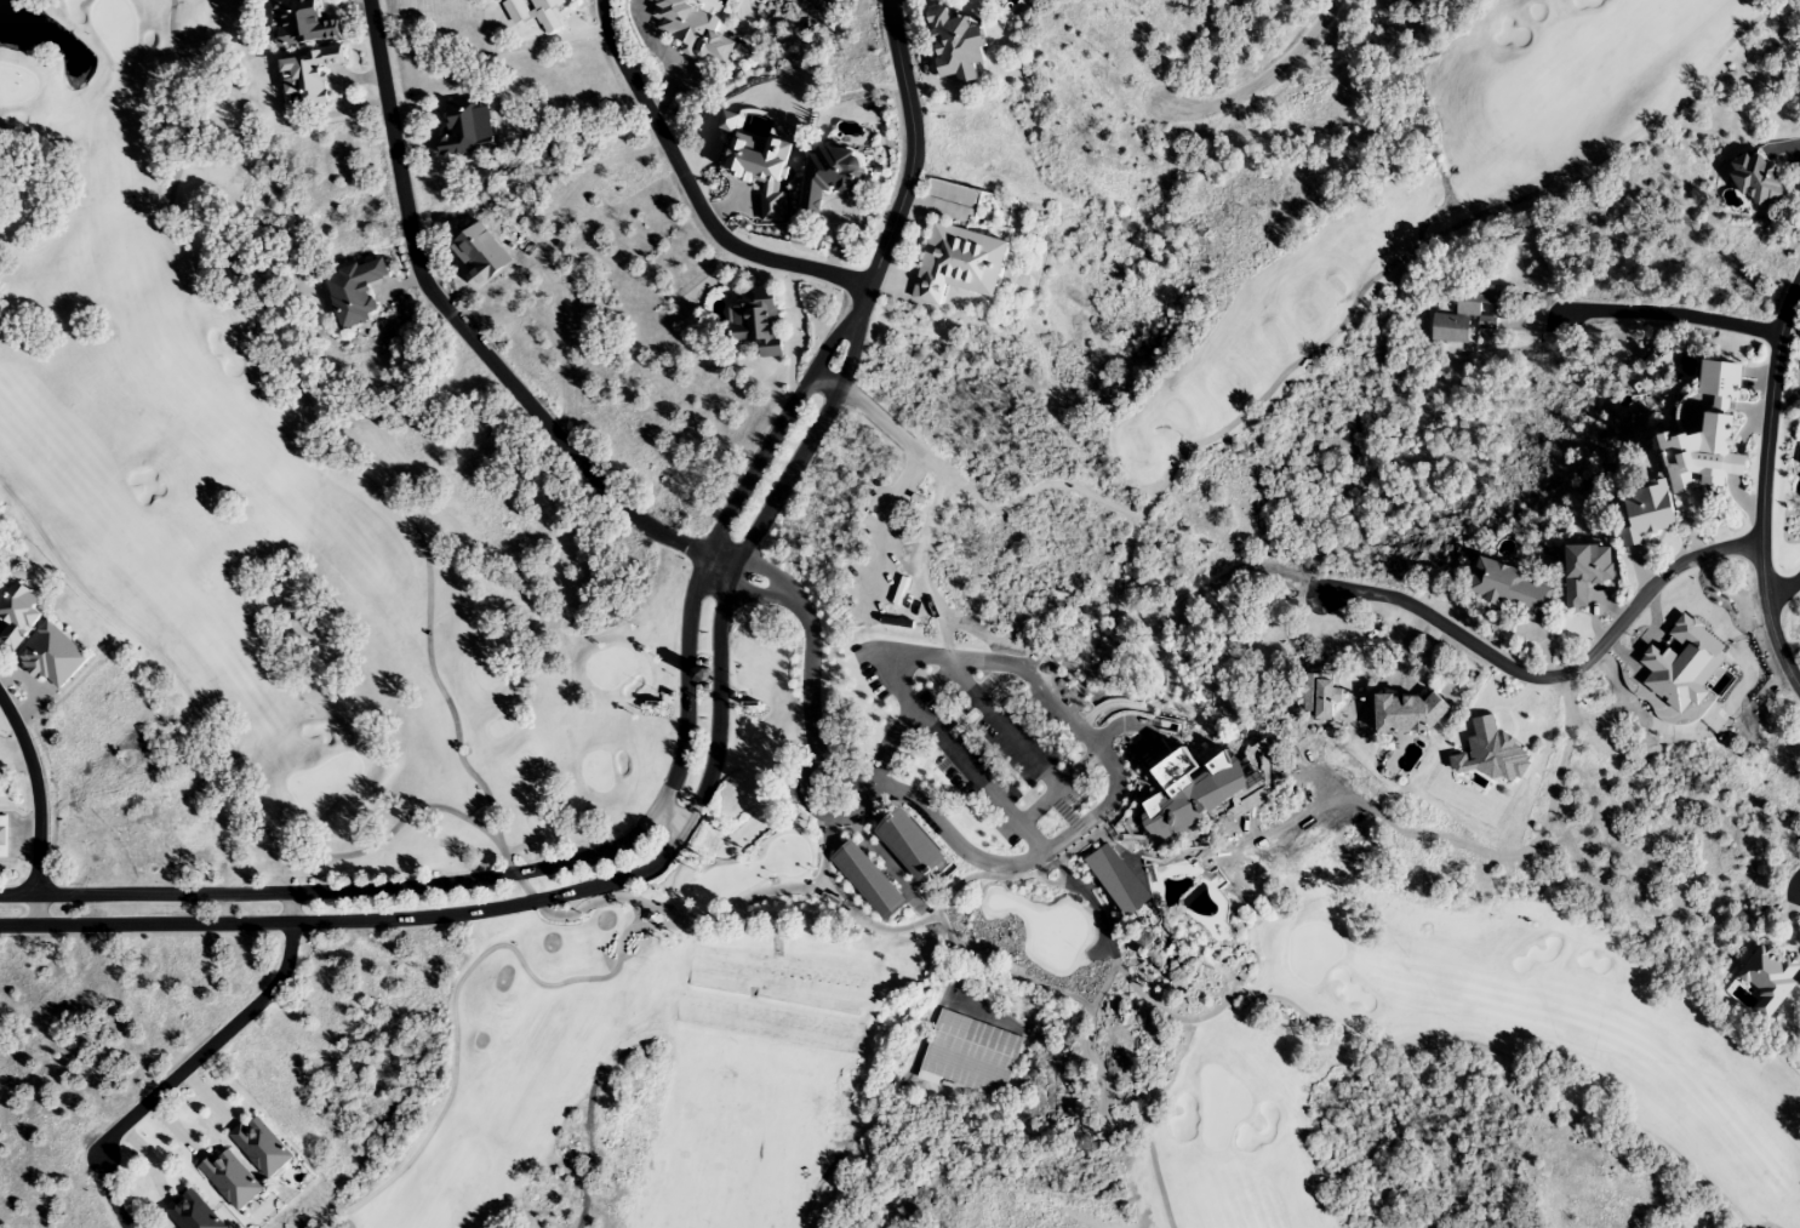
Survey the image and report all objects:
building: (533, 12)
building: (301, 22)
building: (693, 28)
building: (956, 44)
building: (308, 76)
road: (1258, 82)
building: (467, 128)
road: (913, 147)
building: (830, 176)
building: (1756, 177)
road: (690, 192)
building: (959, 262)
building: (354, 291)
road: (1670, 313)
building: (1468, 315)
building: (758, 320)
road: (800, 330)
road: (468, 336)
road: (868, 411)
building: (1709, 436)
road: (1762, 482)
building: (1647, 513)
road: (1782, 586)
building: (1510, 589)
park: (421, 609)
building: (17, 613)
building: (52, 656)
road: (1554, 676)
building: (1319, 696)
building: (1410, 713)
building: (1215, 781)
building: (0, 782)
road: (38, 805)
road: (673, 817)
building: (903, 821)
building: (2, 836)
road: (1050, 844)
road: (621, 845)
building: (859, 867)
road: (640, 873)
building: (1130, 904)
building: (1768, 978)
road: (221, 1035)
building: (968, 1055)
park: (833, 1067)
building: (261, 1147)
building: (230, 1180)
building: (192, 1212)

